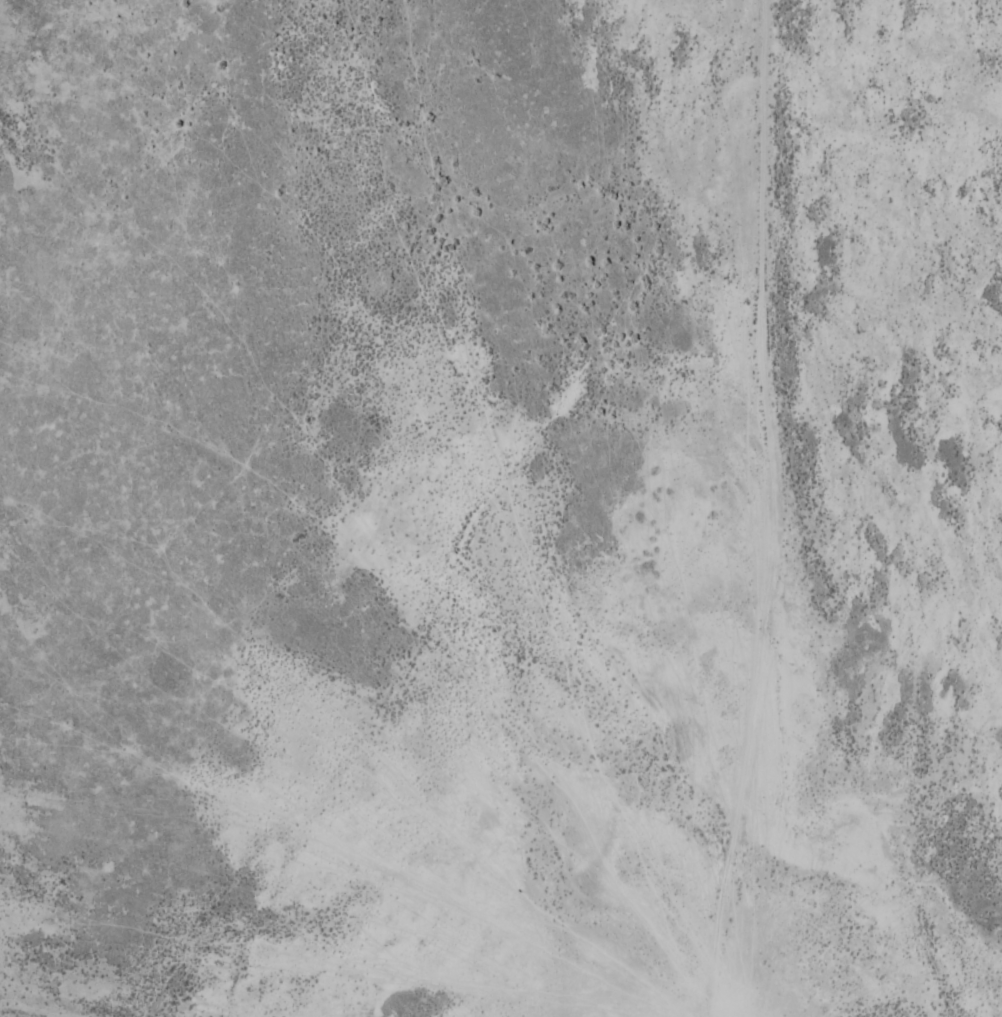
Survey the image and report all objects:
road: (757, 511)

